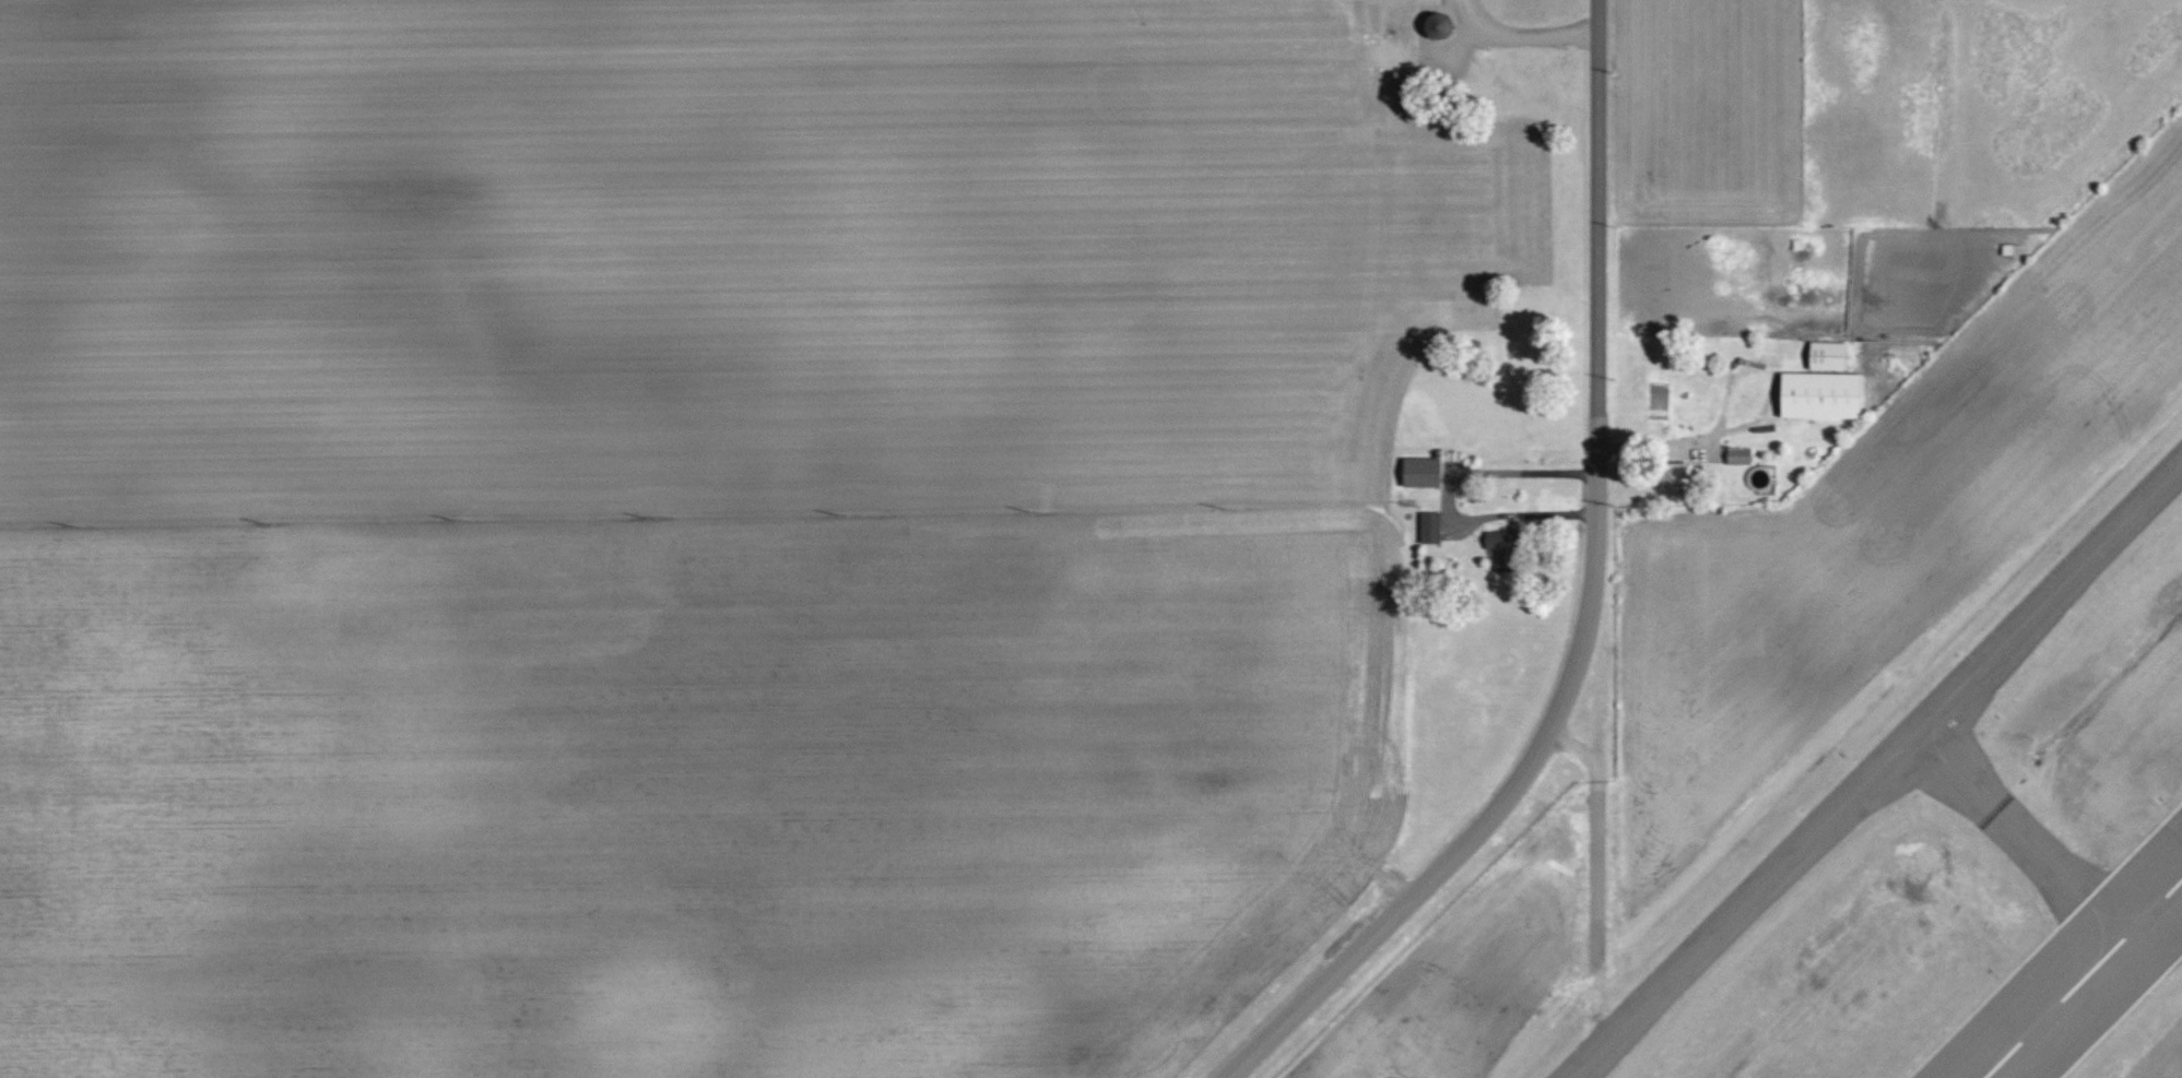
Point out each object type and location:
road: (1596, 253)
building: (1830, 355)
building: (1825, 394)
building: (1741, 455)
building: (1424, 472)
building: (1430, 526)
building: (1506, 545)
airport: (1879, 738)
airport taxiway: (1885, 780)
road: (1476, 828)
airport taxiway: (2028, 838)
airport runway: (2085, 980)

